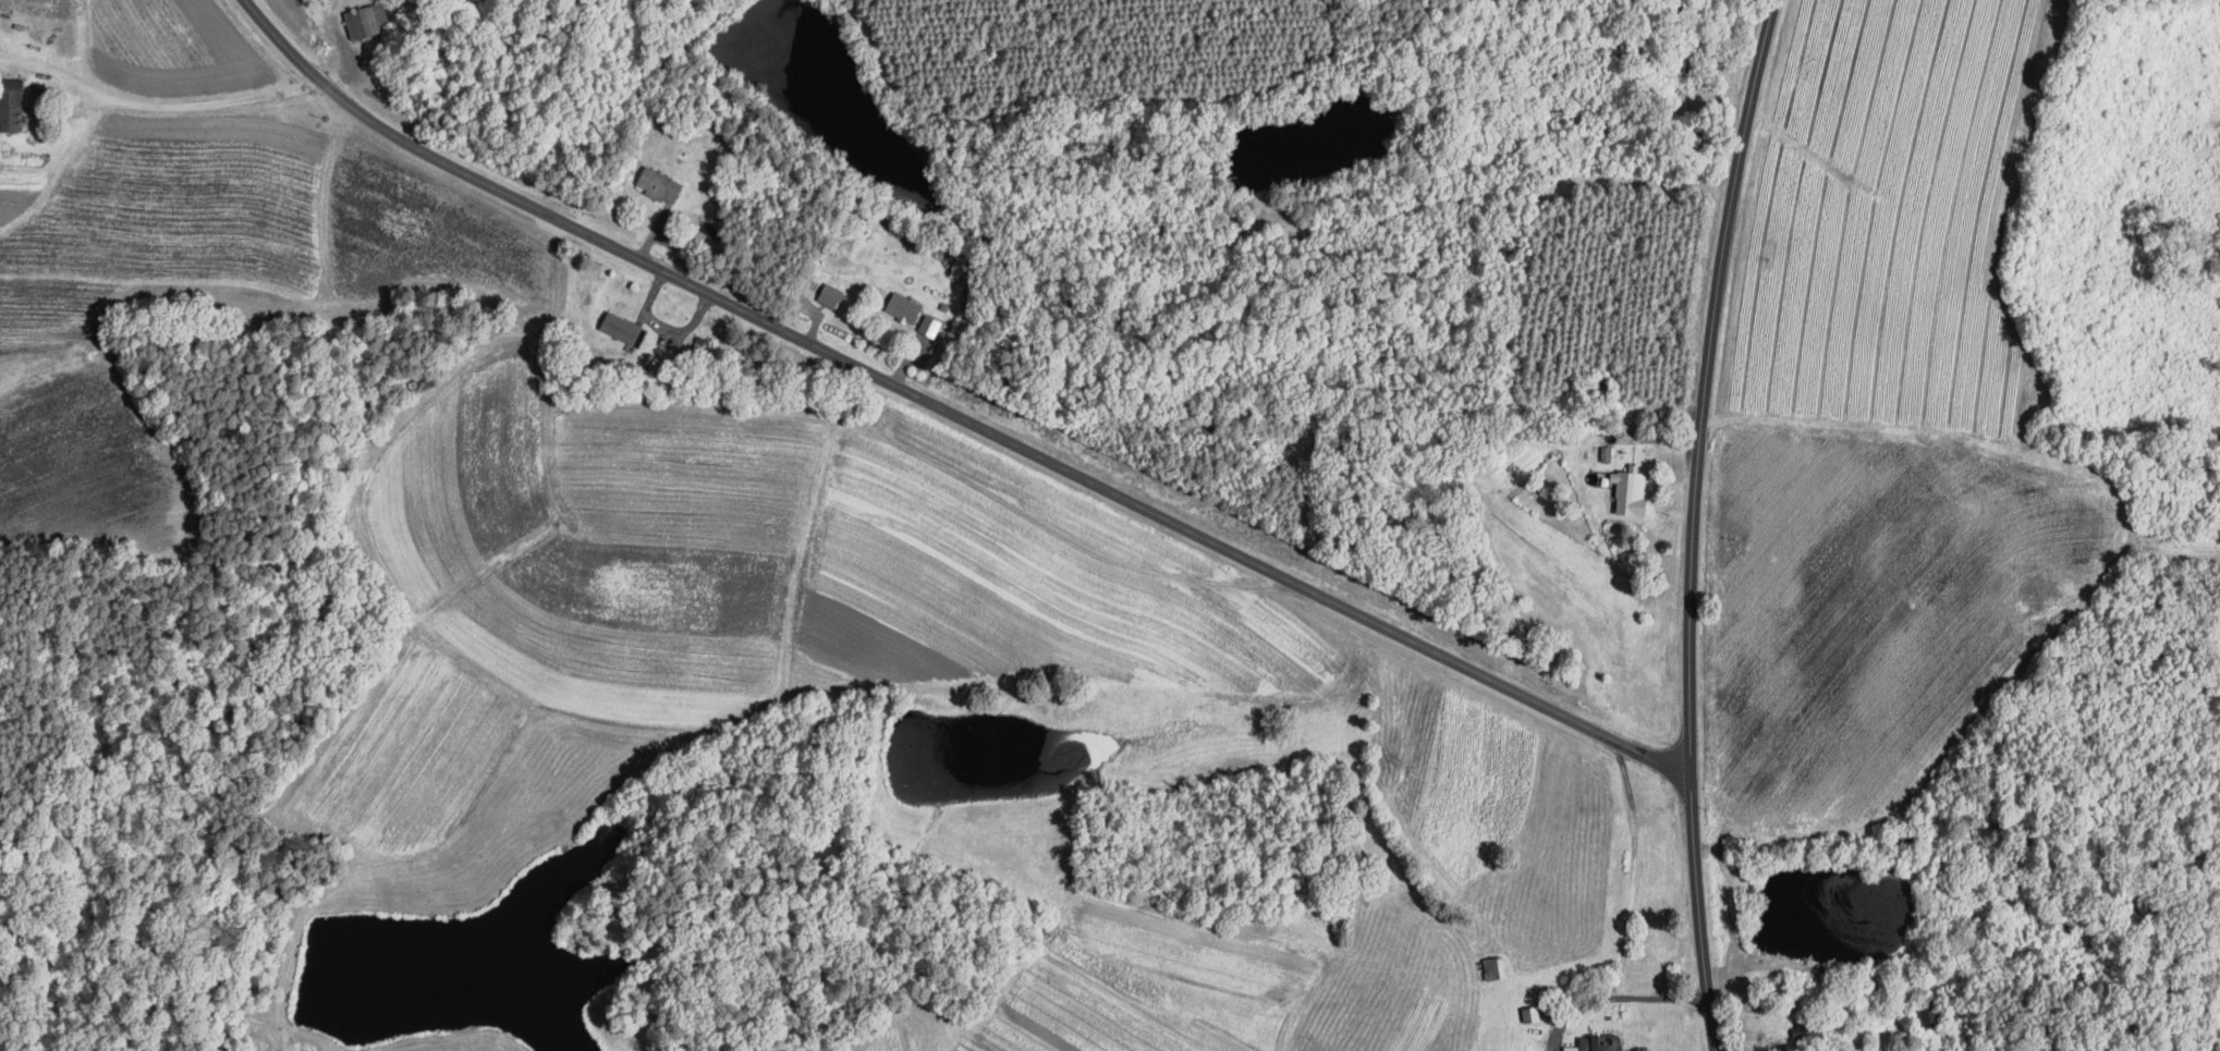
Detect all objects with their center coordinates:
building: (368, 20)
building: (13, 105)
road: (146, 125)
building: (661, 184)
building: (833, 294)
building: (906, 307)
road: (664, 326)
building: (627, 332)
road: (951, 414)
building: (1633, 490)
road: (1695, 522)
road: (1977, 956)
building: (1497, 968)
road: (1619, 997)
building: (1532, 1013)
building: (1807, 1027)
building: (1597, 1043)

